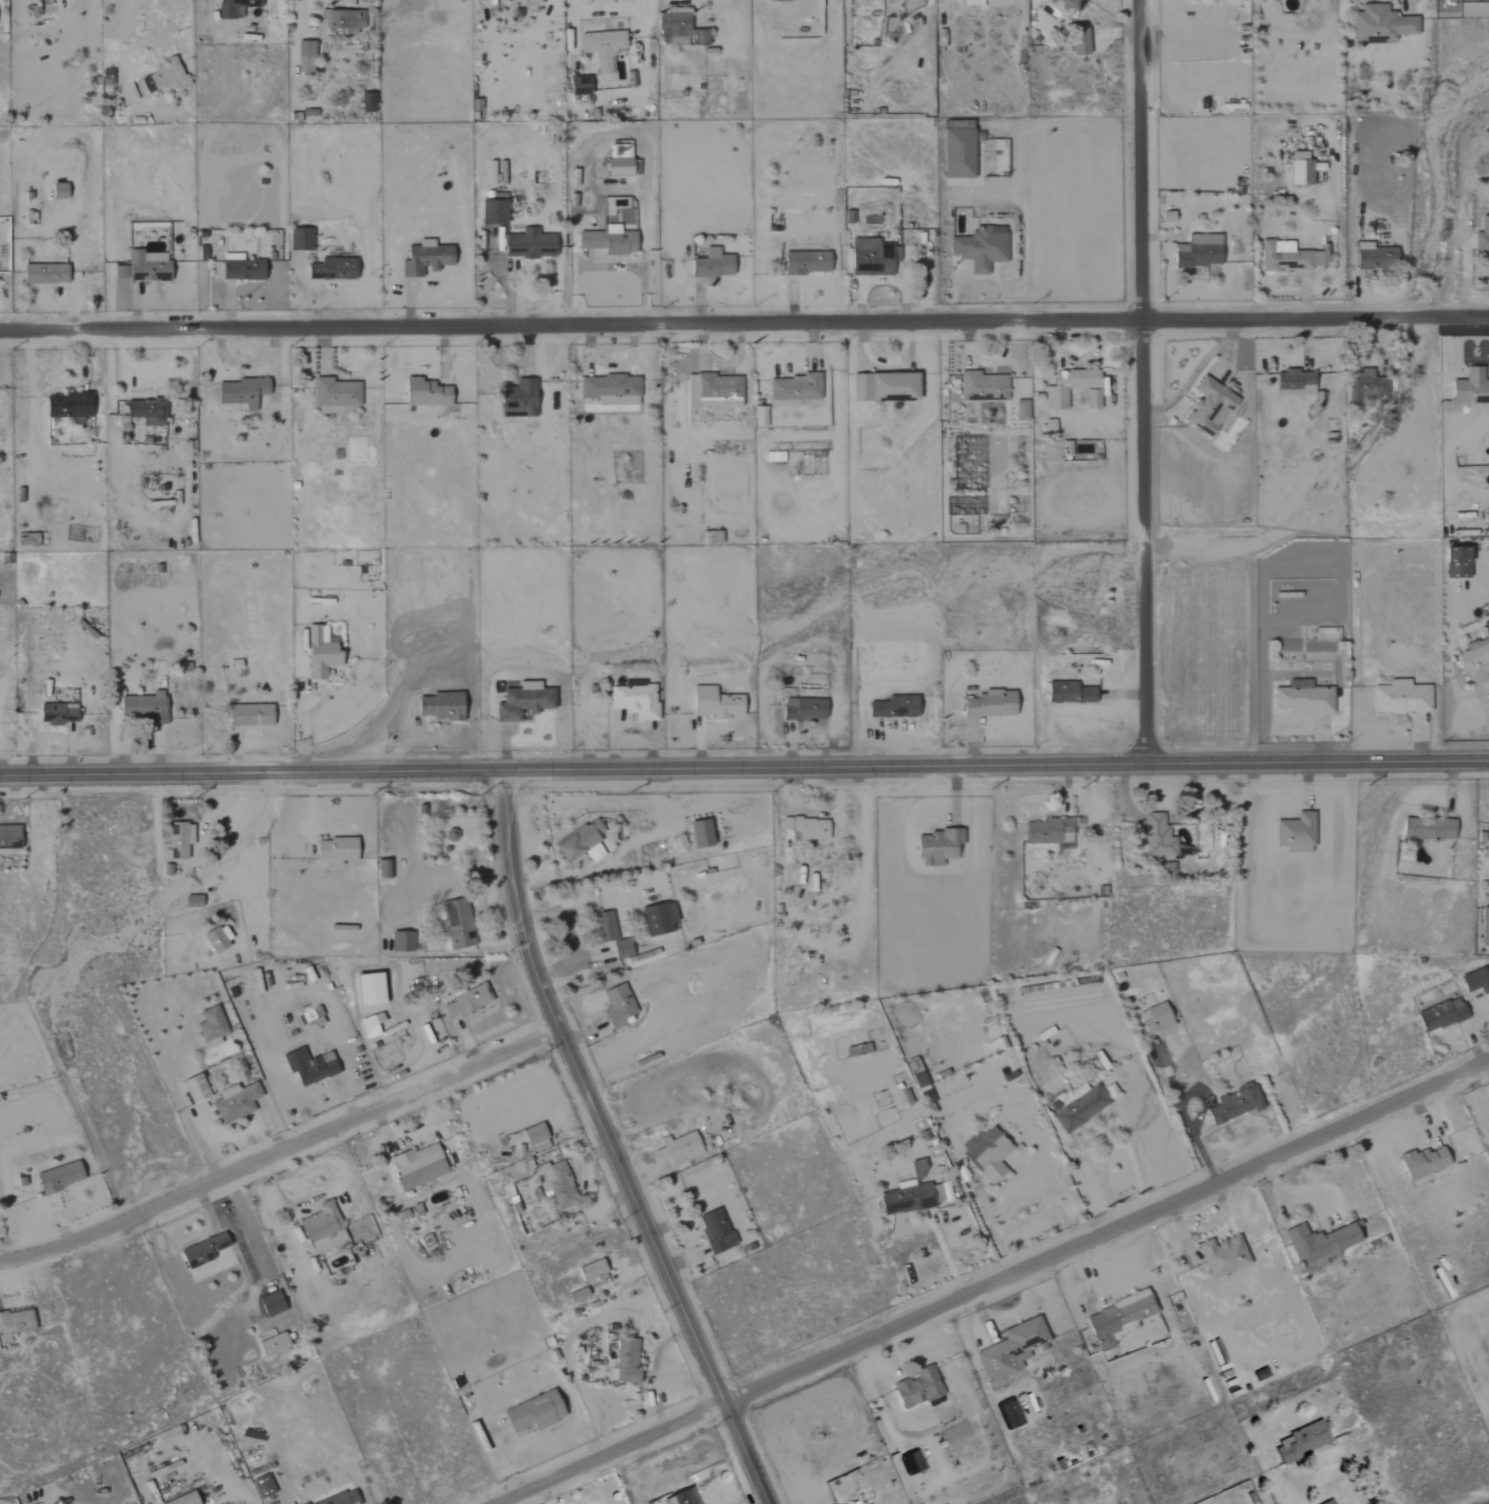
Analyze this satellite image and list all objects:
building: (779, 1)
building: (345, 3)
building: (1068, 4)
building: (233, 8)
road: (610, 9)
road: (1413, 9)
building: (342, 21)
building: (1379, 26)
building: (679, 29)
building: (1080, 42)
building: (602, 49)
building: (304, 57)
road: (121, 61)
building: (166, 76)
building: (105, 77)
building: (577, 86)
building: (367, 103)
building: (957, 150)
building: (620, 163)
building: (1300, 170)
building: (57, 192)
building: (491, 213)
building: (1482, 236)
building: (299, 240)
building: (607, 241)
building: (528, 245)
building: (980, 248)
building: (1199, 252)
building: (1288, 257)
building: (1374, 257)
building: (424, 258)
building: (872, 258)
building: (805, 264)
building: (712, 265)
building: (142, 267)
building: (240, 268)
building: (332, 269)
road: (744, 324)
road: (1144, 381)
building: (1294, 383)
building: (1366, 386)
building: (793, 387)
building: (883, 387)
building: (982, 387)
building: (609, 389)
building: (1471, 390)
building: (712, 391)
building: (240, 392)
building: (334, 393)
building: (424, 393)
building: (1054, 398)
building: (518, 400)
building: (67, 405)
building: (1208, 406)
building: (1020, 410)
building: (146, 411)
building: (759, 417)
building: (1047, 426)
building: (1065, 449)
building: (1455, 562)
building: (319, 652)
building: (1474, 653)
building: (1068, 693)
building: (1400, 697)
building: (1301, 698)
building: (521, 701)
building: (633, 701)
building: (714, 703)
building: (988, 705)
building: (143, 707)
building: (893, 707)
building: (802, 709)
building: (56, 714)
building: (249, 715)
road: (744, 768)
road: (250, 829)
building: (809, 829)
building: (1428, 829)
building: (1048, 831)
building: (1295, 833)
building: (699, 834)
building: (8, 838)
building: (1160, 838)
building: (178, 840)
building: (579, 843)
building: (938, 846)
building: (334, 851)
building: (191, 901)
building: (657, 918)
building: (457, 924)
building: (603, 927)
building: (1484, 928)
road: (570, 936)
building: (216, 938)
building: (400, 942)
building: (620, 948)
building: (1474, 982)
building: (367, 990)
building: (465, 1002)
building: (616, 1006)
building: (1440, 1015)
building: (1154, 1019)
building: (210, 1027)
building: (367, 1027)
building: (863, 1049)
building: (308, 1066)
building: (193, 1089)
building: (234, 1102)
building: (1233, 1105)
building: (1080, 1107)
road: (183, 1116)
road: (1185, 1118)
road: (1099, 1134)
building: (1487, 1134)
building: (534, 1137)
road: (606, 1145)
building: (677, 1149)
road: (279, 1151)
building: (987, 1155)
building: (1421, 1163)
building: (416, 1167)
building: (916, 1170)
building: (58, 1177)
building: (555, 1184)
building: (908, 1199)
building: (321, 1229)
building: (714, 1231)
road: (991, 1231)
building: (1317, 1246)
building: (202, 1251)
building: (1223, 1256)
building: (591, 1272)
road: (993, 1283)
building: (576, 1296)
building: (270, 1305)
building: (1118, 1319)
building: (16, 1322)
building: (270, 1344)
building: (1010, 1350)
building: (624, 1362)
building: (917, 1388)
building: (533, 1413)
building: (1008, 1415)
building: (1301, 1443)
road: (1344, 1460)
building: (911, 1463)
building: (262, 1487)
building: (683, 1497)
building: (340, 1498)
building: (180, 1500)
building: (1328, 1502)

